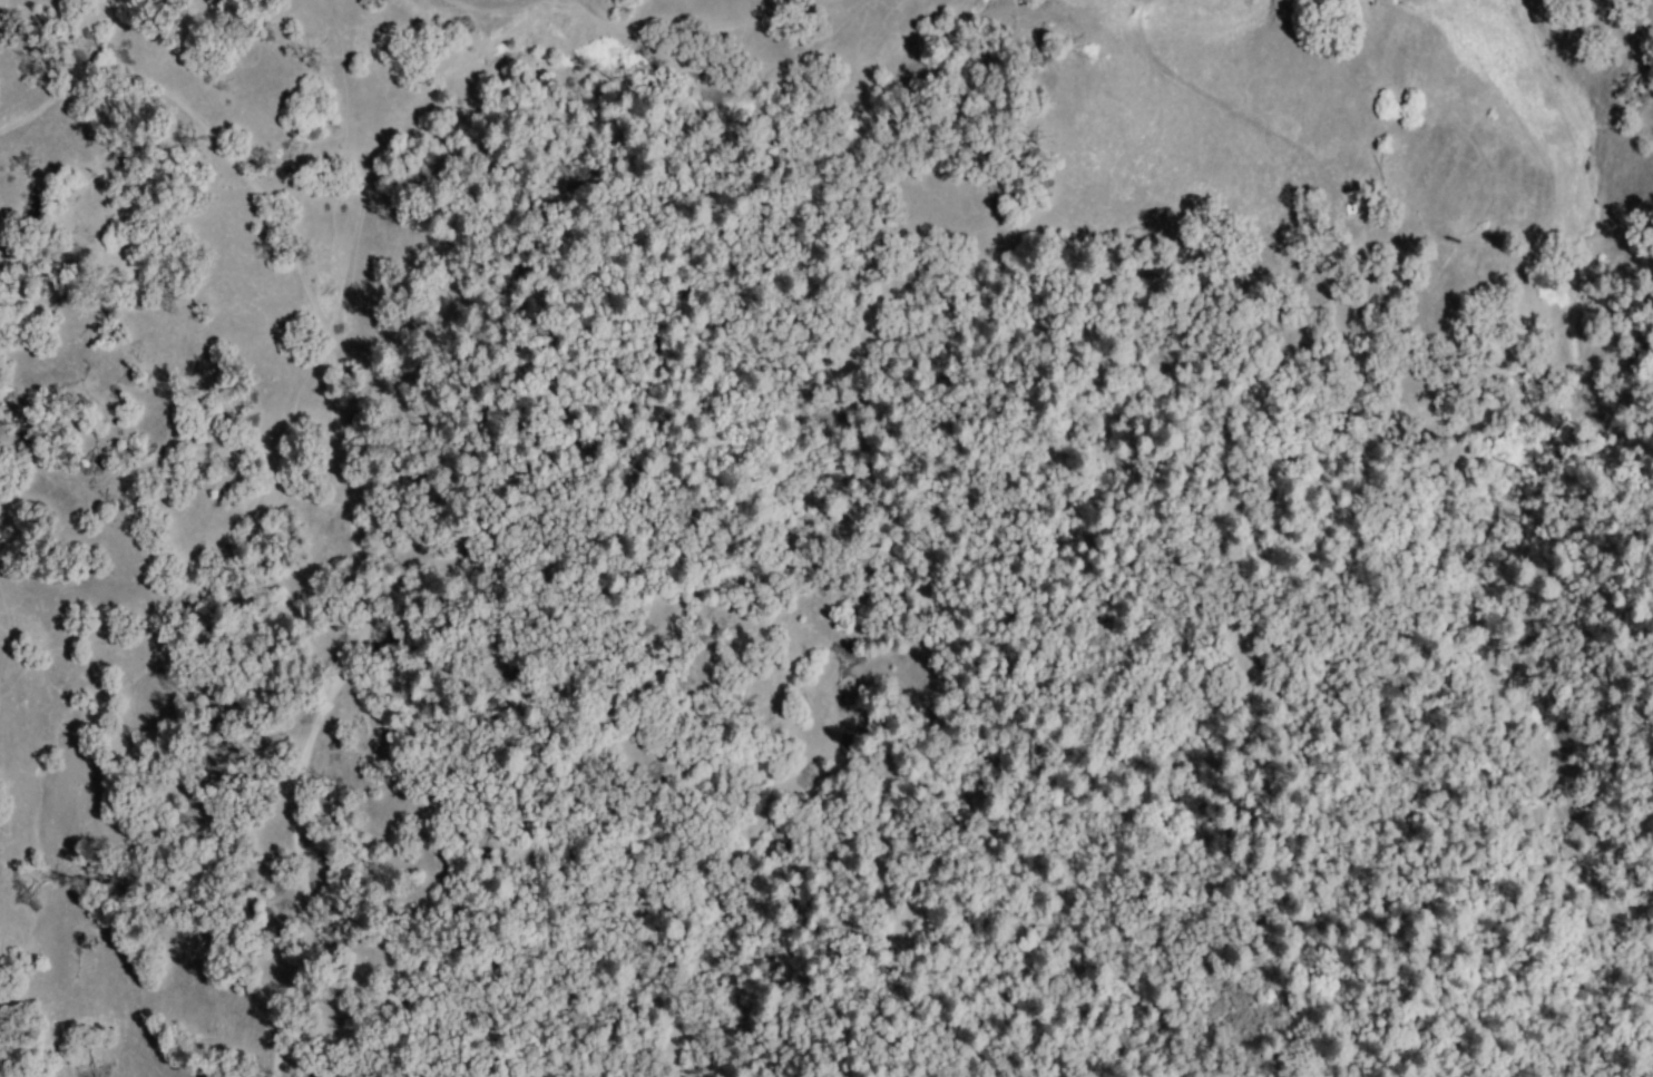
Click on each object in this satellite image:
road: (344, 478)

